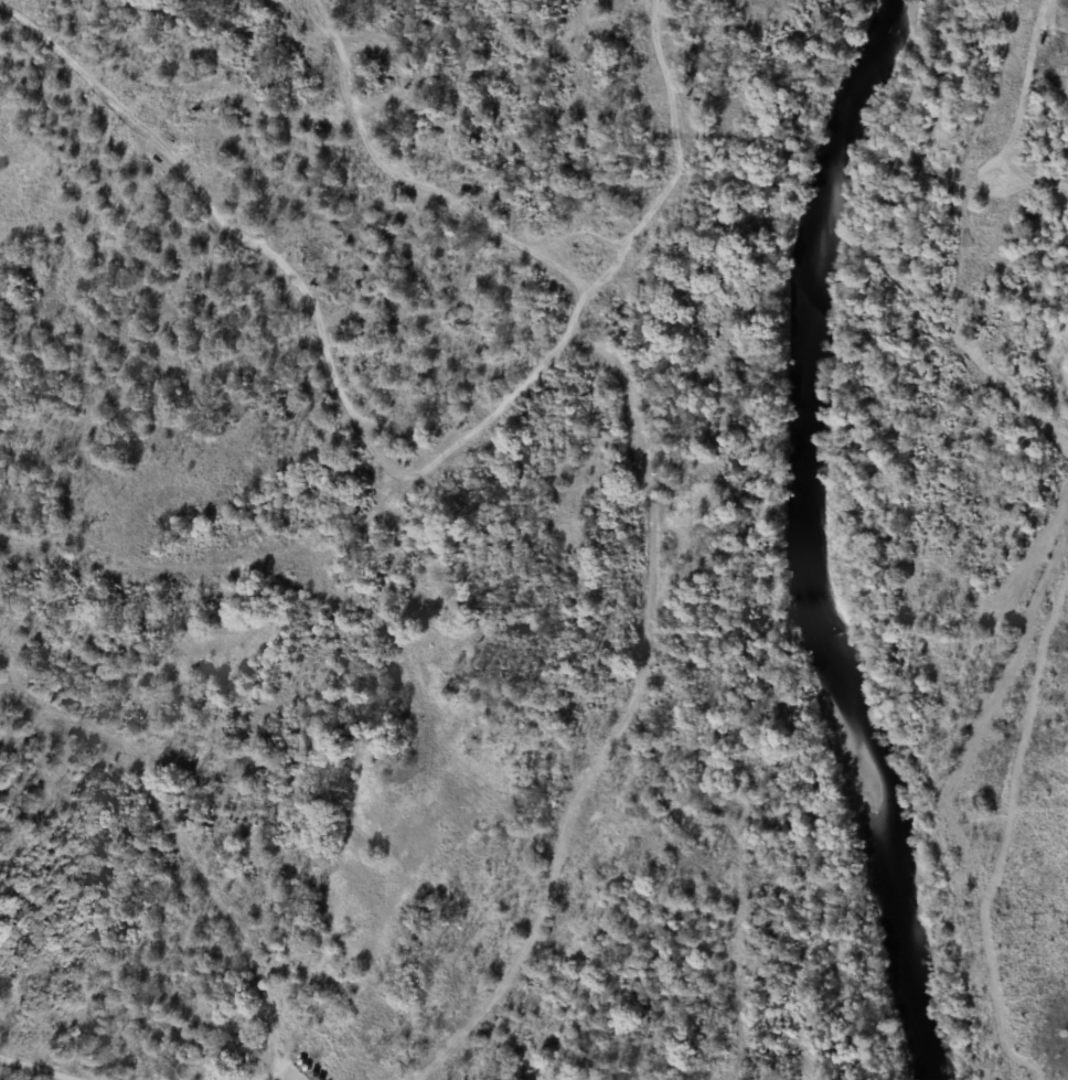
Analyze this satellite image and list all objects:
river: (821, 535)

